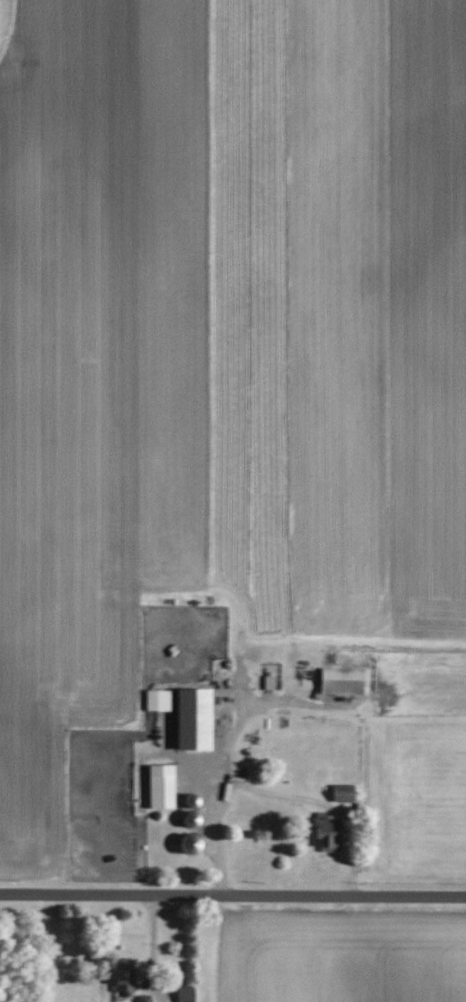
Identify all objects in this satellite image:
building: (344, 681)
building: (159, 700)
building: (197, 720)
building: (164, 787)
building: (345, 793)
road: (214, 798)
building: (329, 832)
road: (232, 896)
building: (126, 979)
building: (188, 994)
building: (145, 1000)

